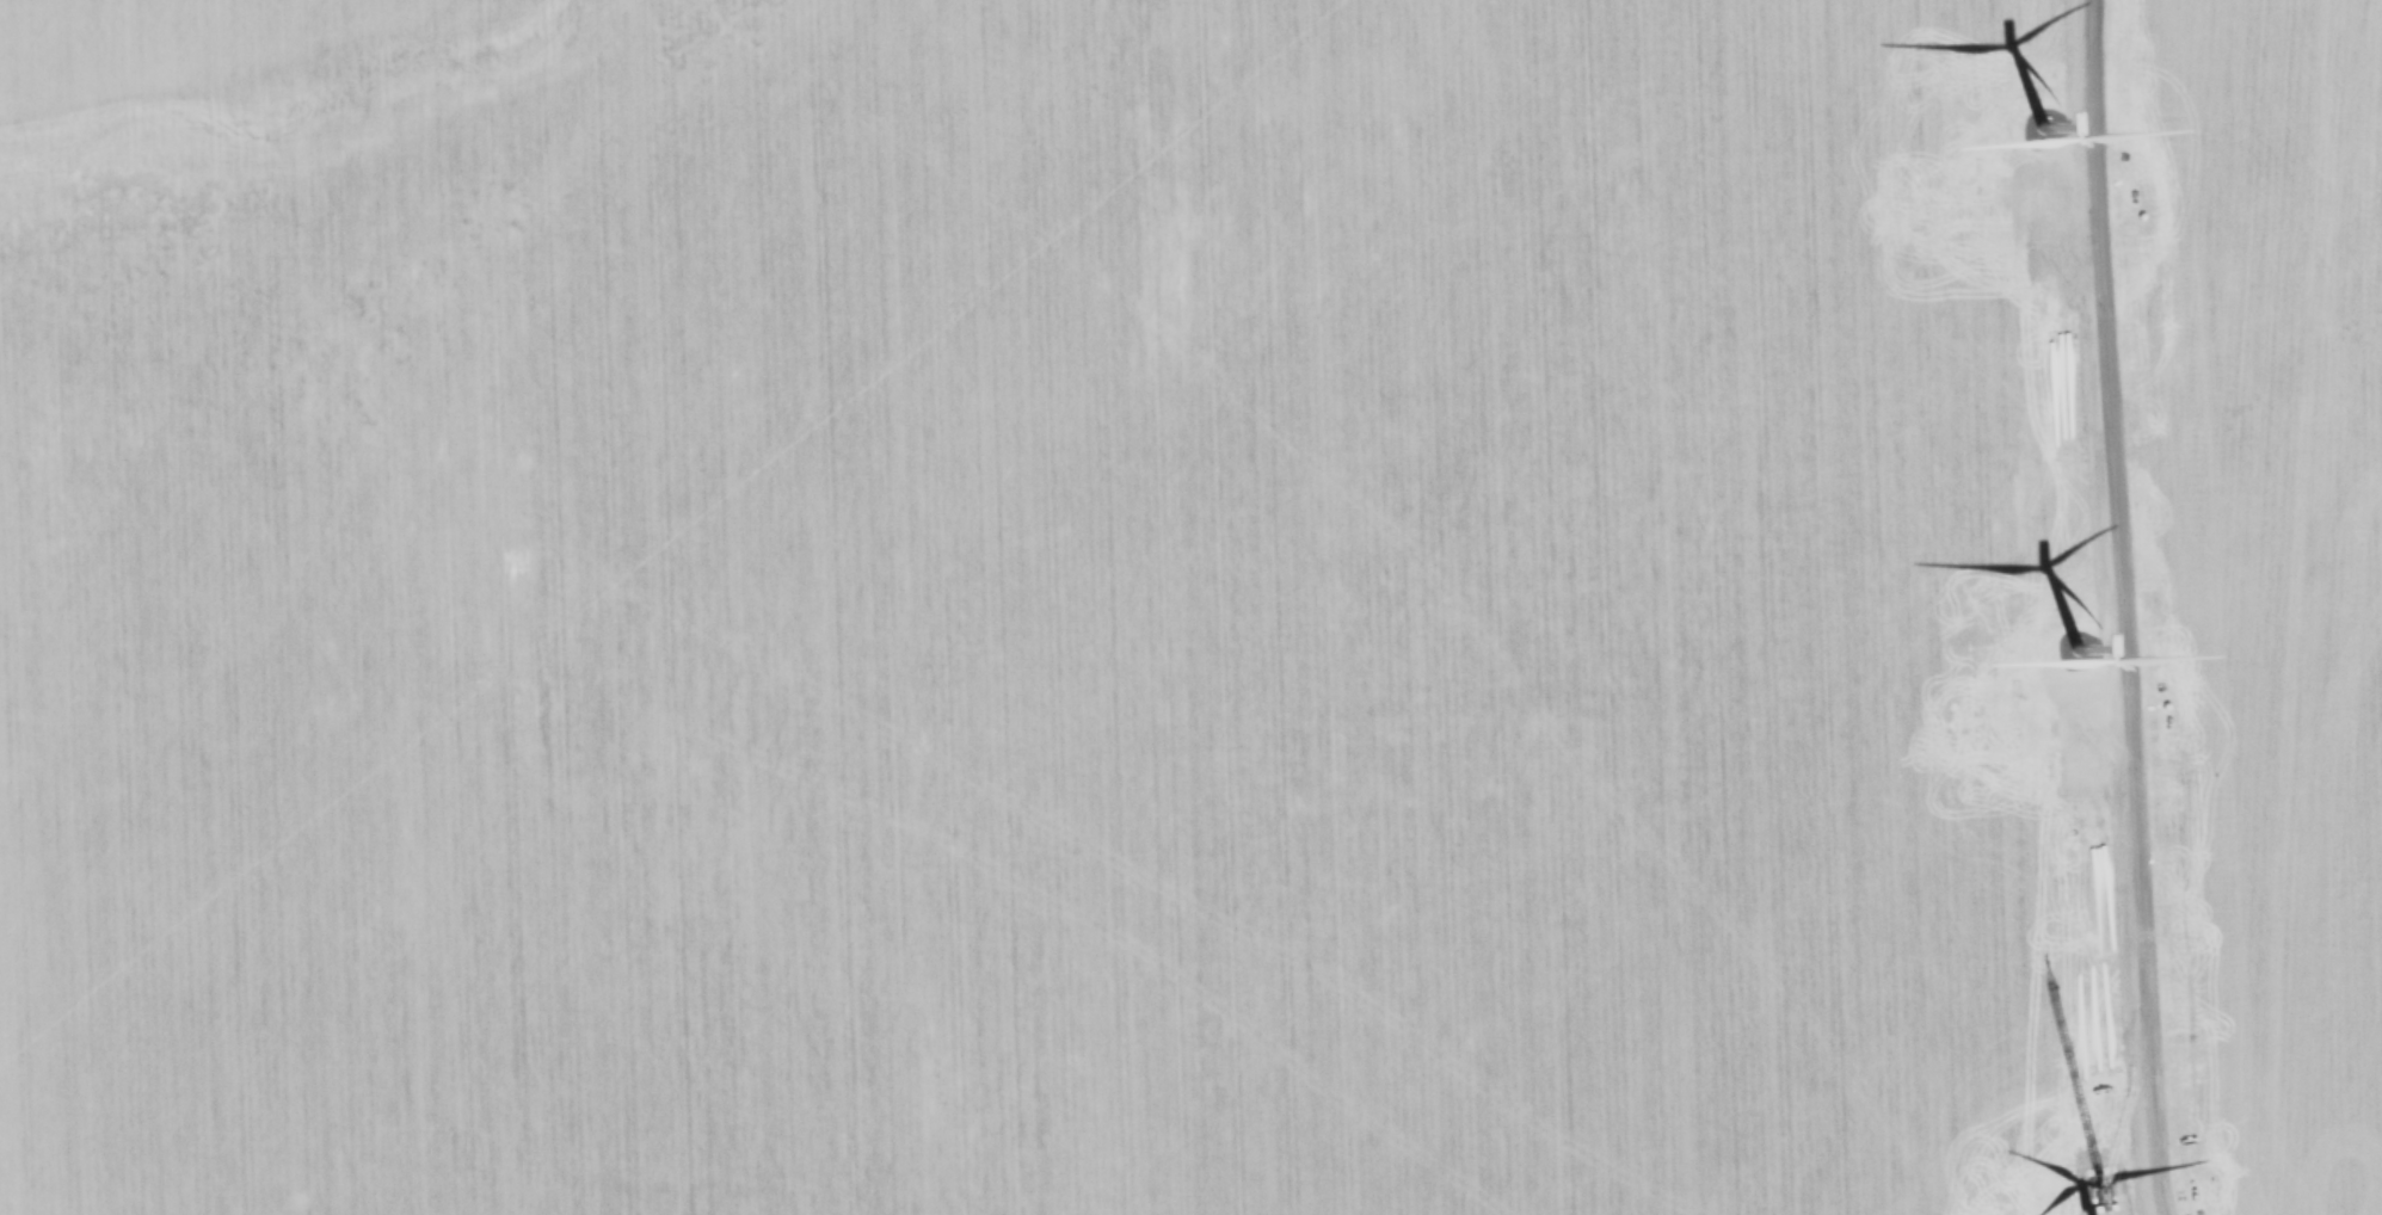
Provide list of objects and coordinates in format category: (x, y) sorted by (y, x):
wind turbine: (2050, 131)
road: (2125, 607)
wind turbine: (2080, 648)

